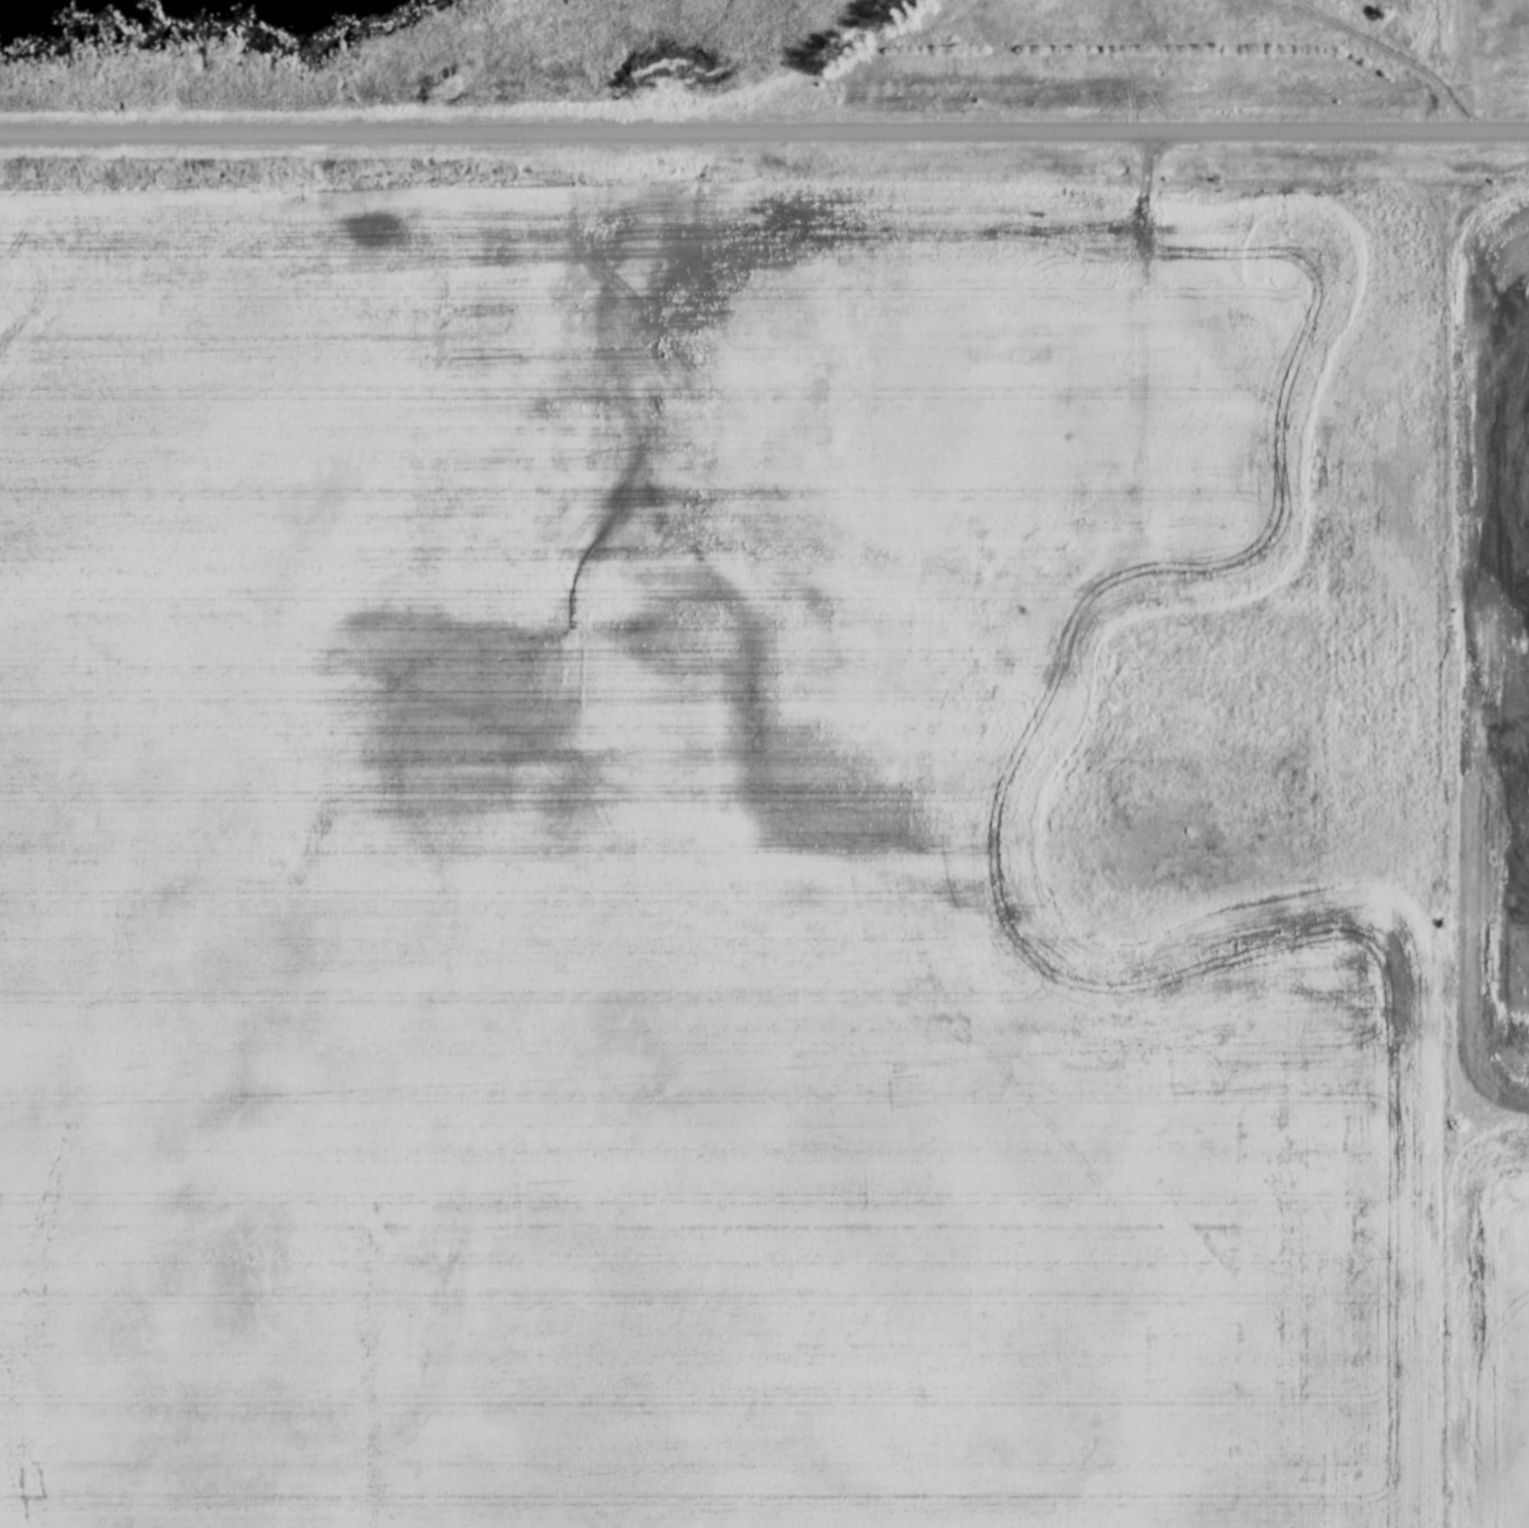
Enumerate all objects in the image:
road: (1393, 54)
road: (764, 133)

